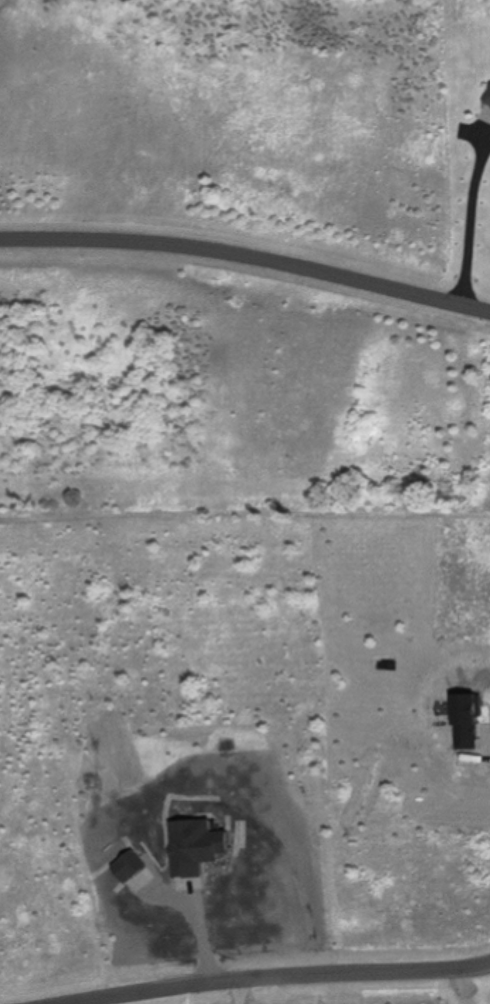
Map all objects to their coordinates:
road: (473, 218)
road: (247, 258)
road: (259, 978)
road: (239, 991)

